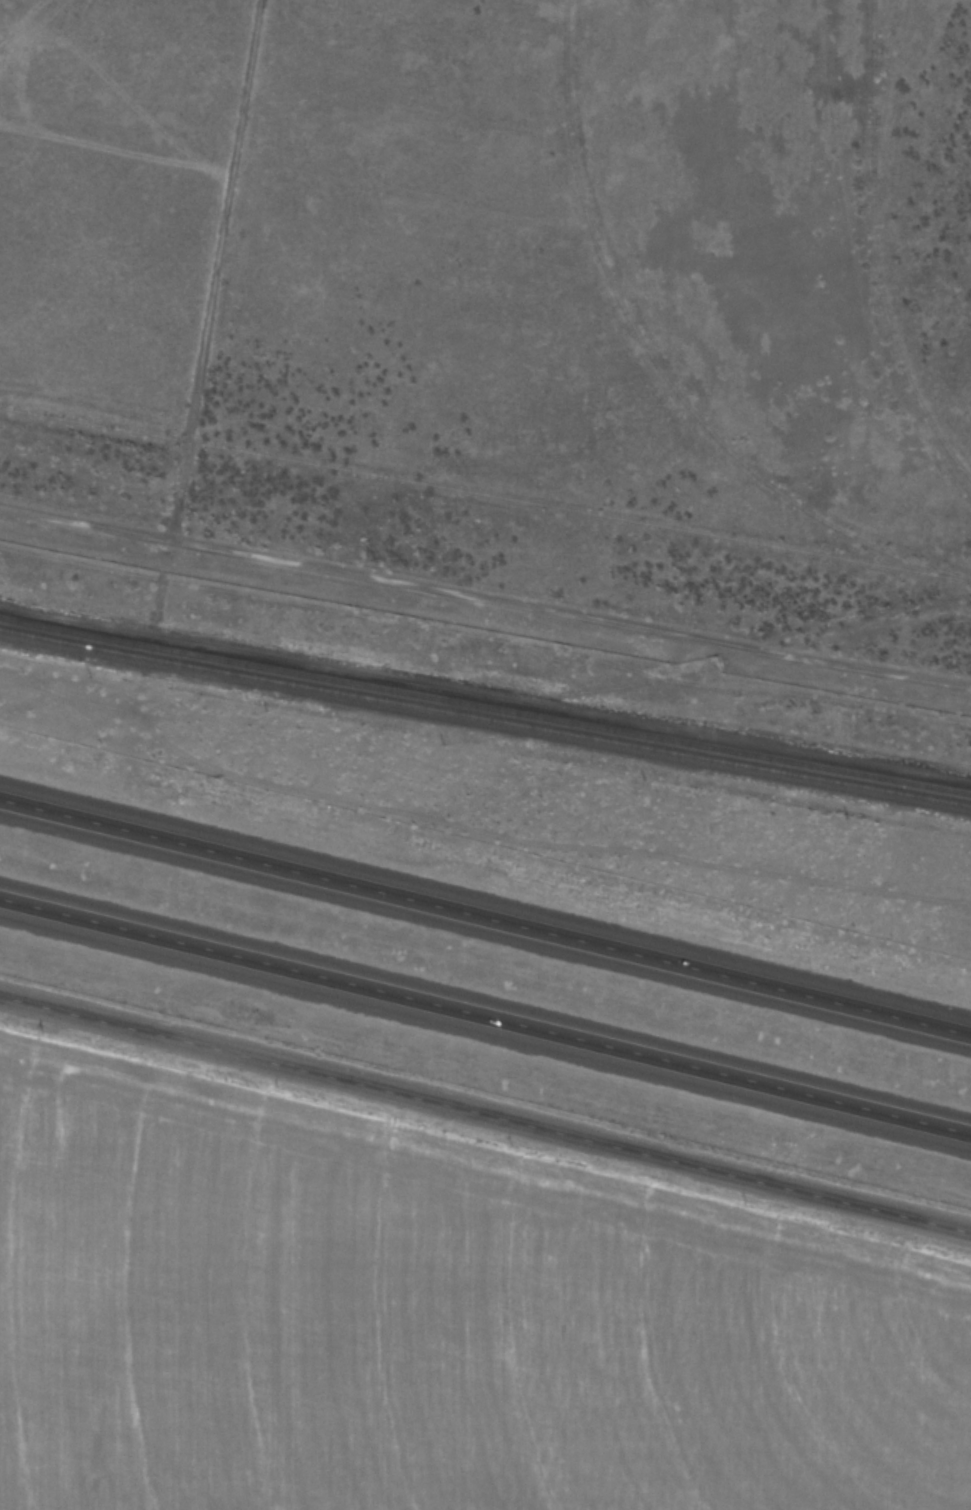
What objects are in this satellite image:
railway: (873, 252)
railway: (658, 367)
railway: (485, 494)
road: (483, 600)
railway: (891, 608)
railway: (485, 704)
railway: (485, 717)
road: (485, 908)
road: (485, 1005)
road: (485, 1110)

